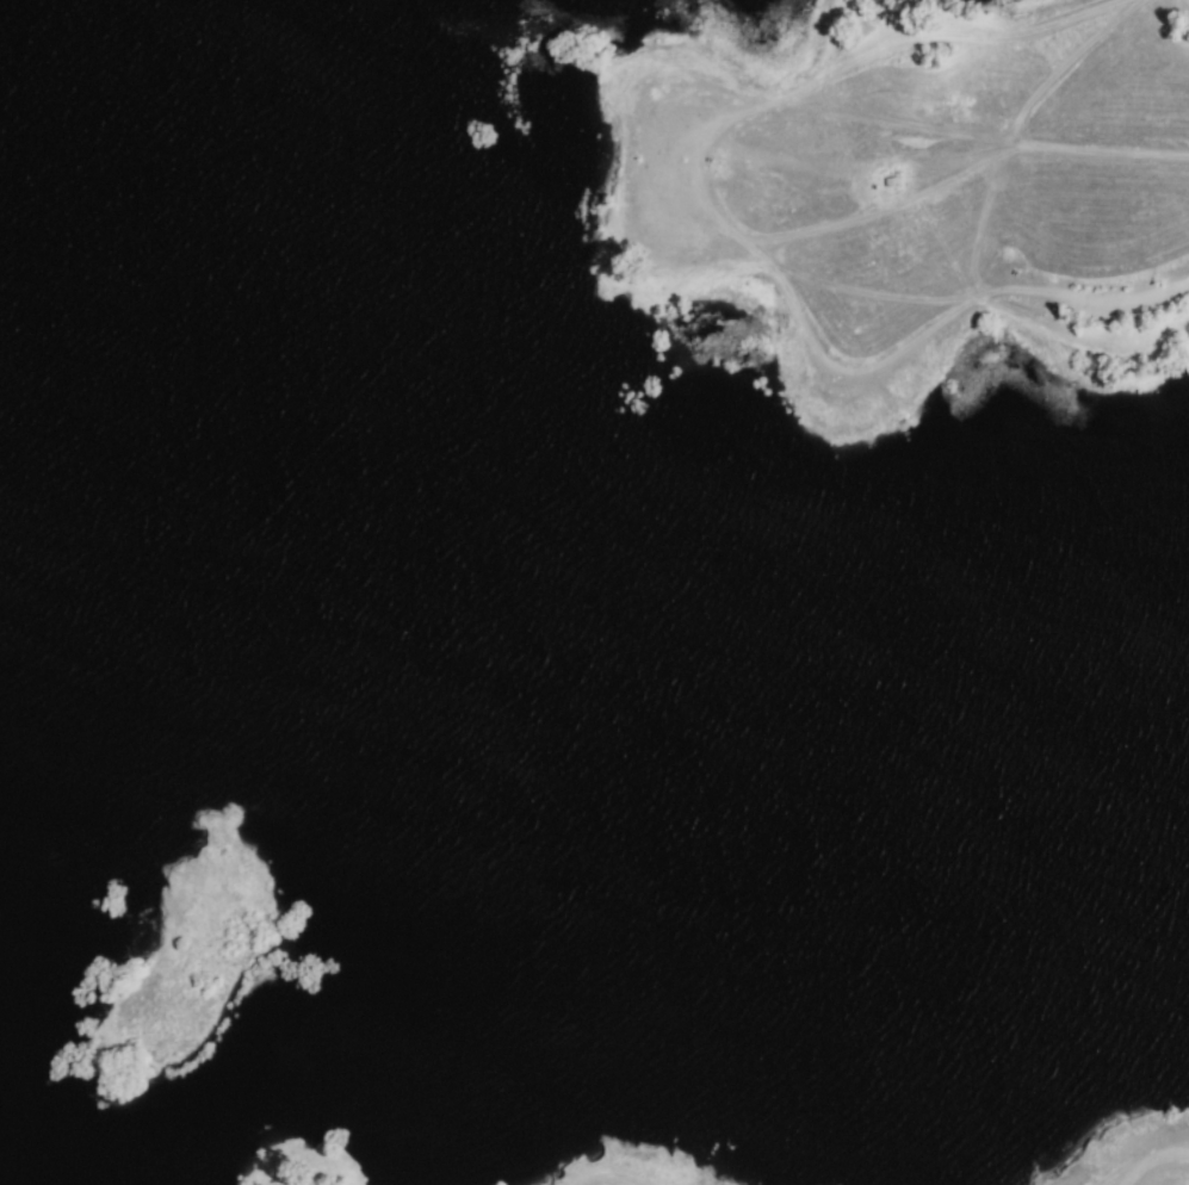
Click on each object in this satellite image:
road: (1152, 1159)

